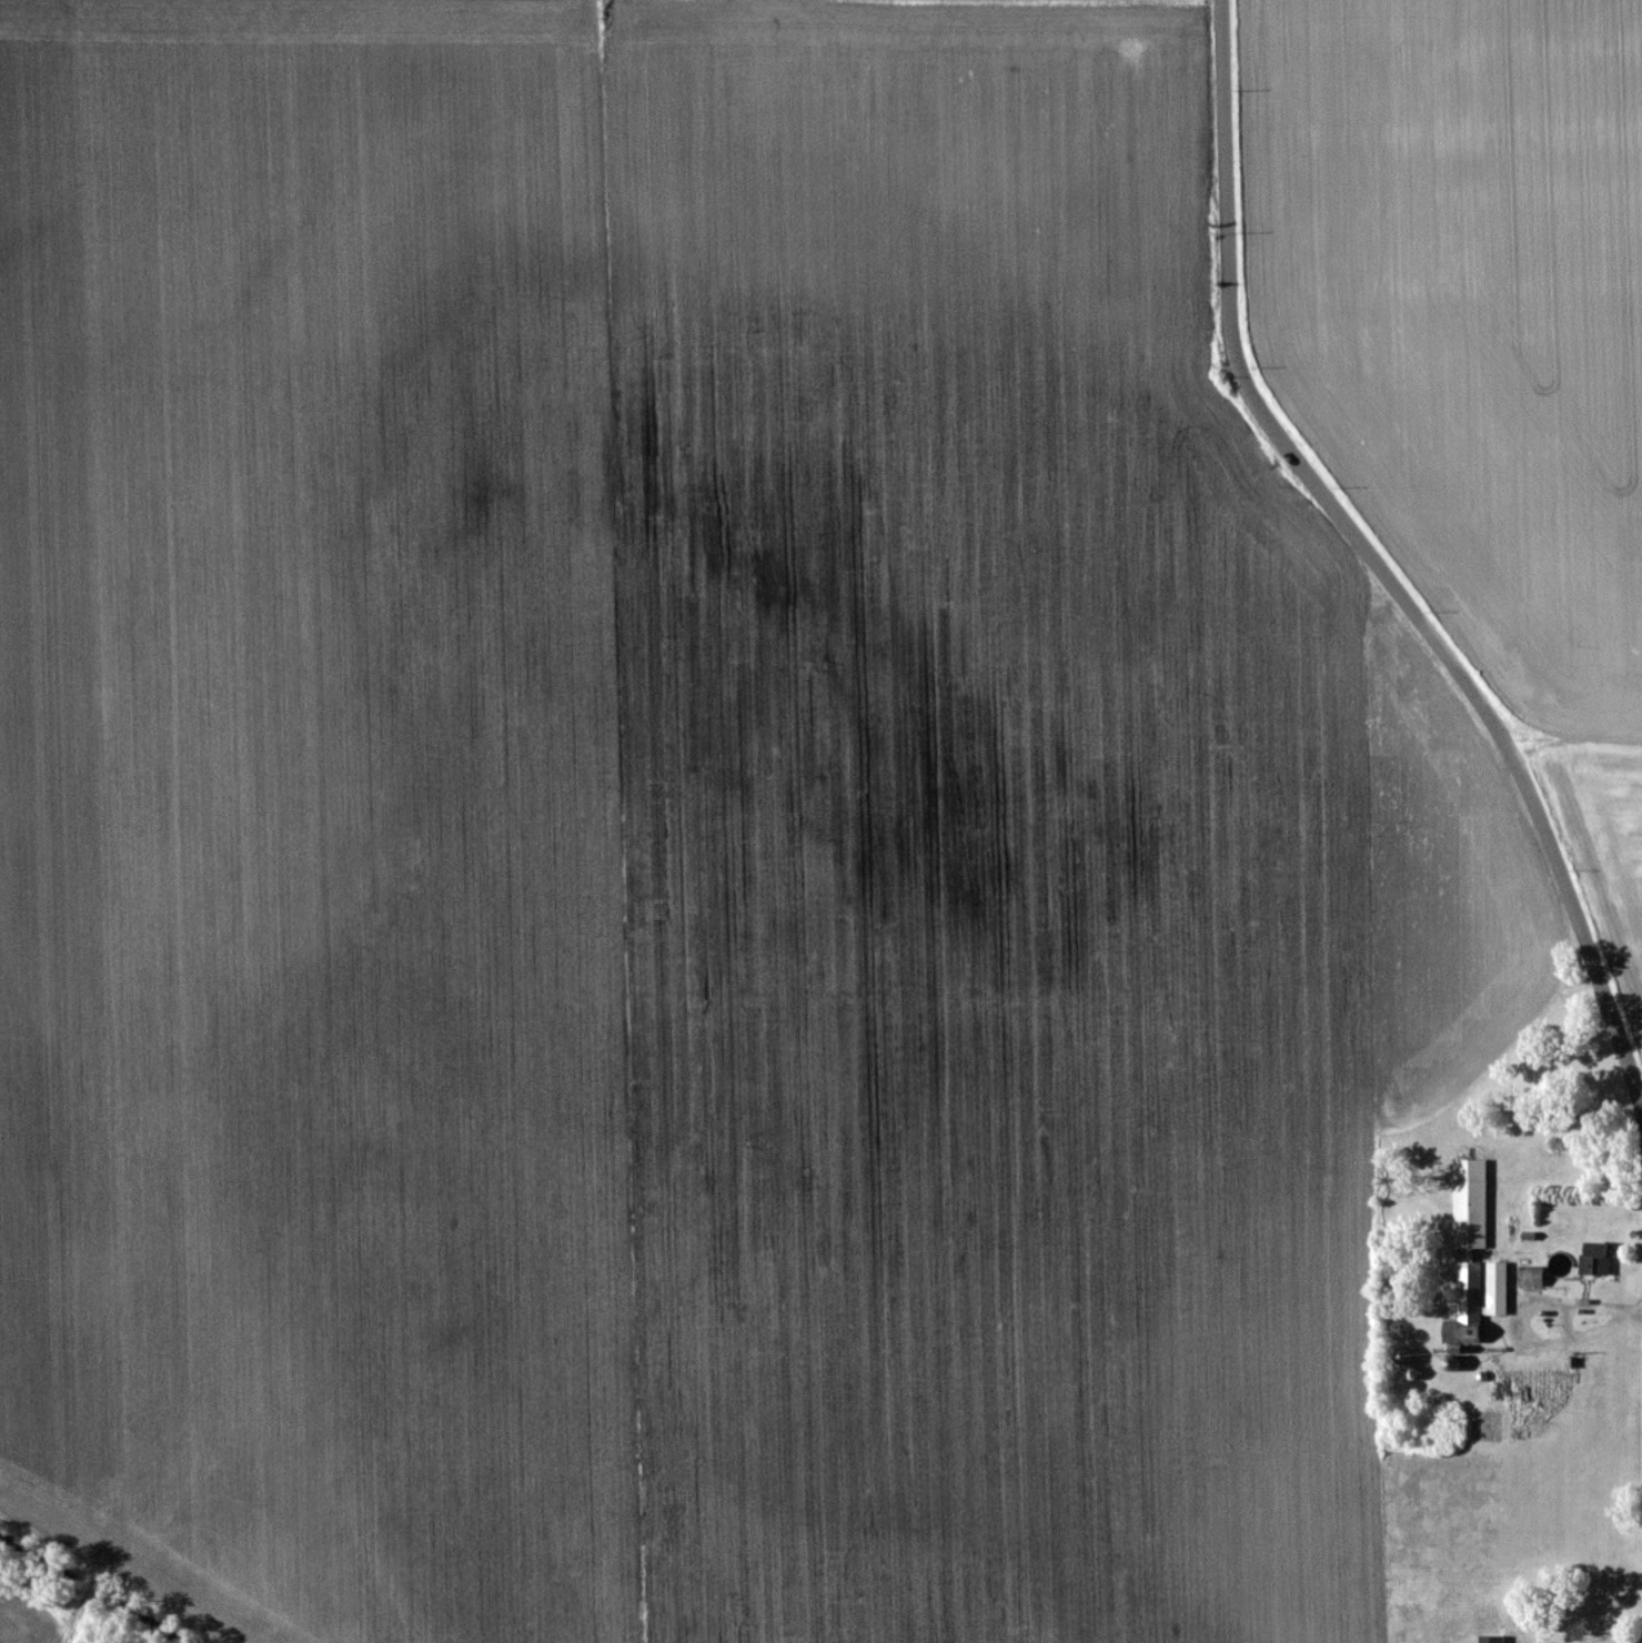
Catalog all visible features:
road: (1373, 558)
building: (1469, 1202)
building: (1594, 1257)
building: (1530, 1276)
building: (1479, 1296)
building: (1490, 1639)

